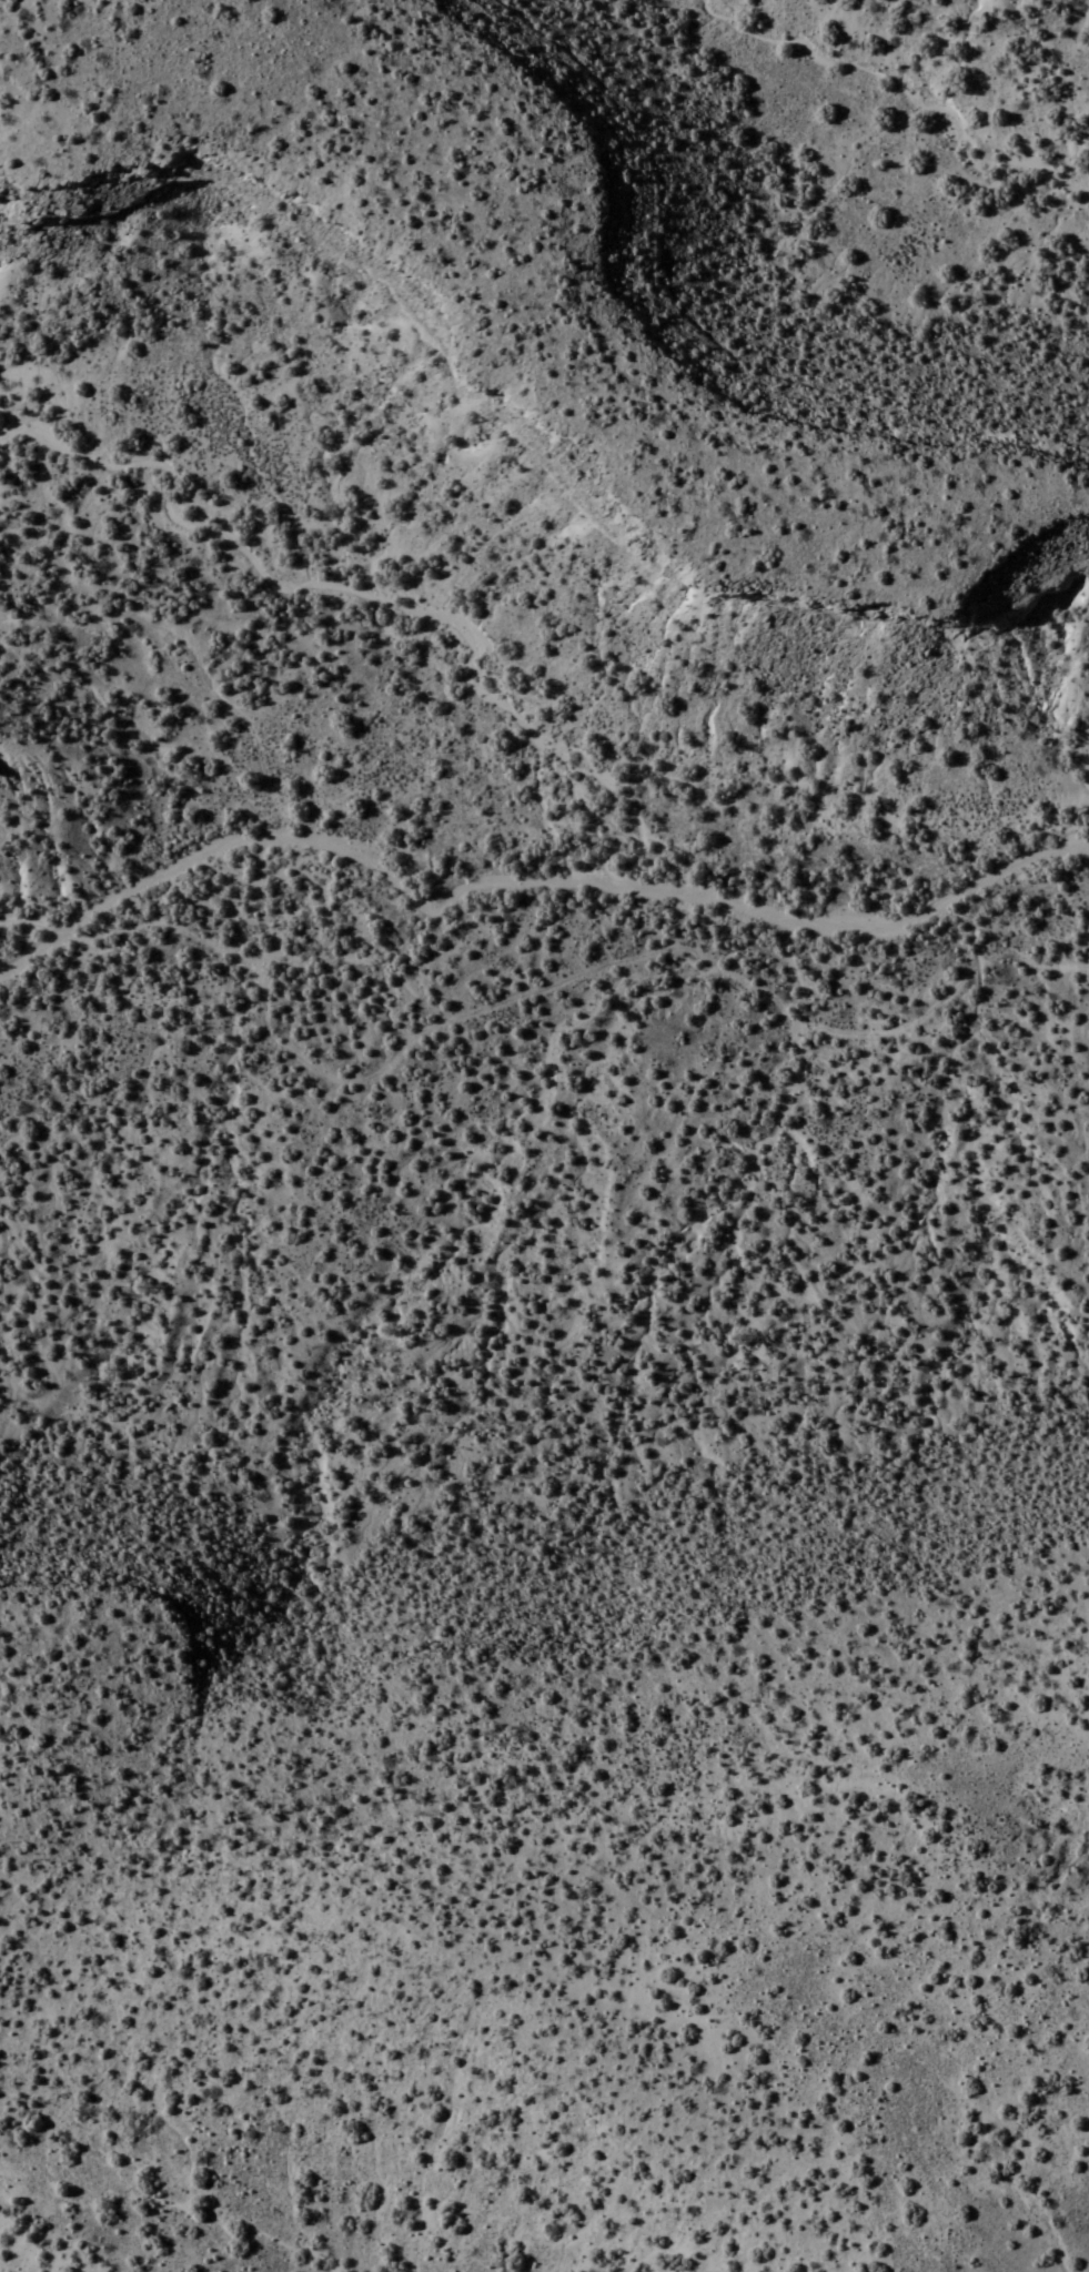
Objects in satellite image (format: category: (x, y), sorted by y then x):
road: (241, 710)

